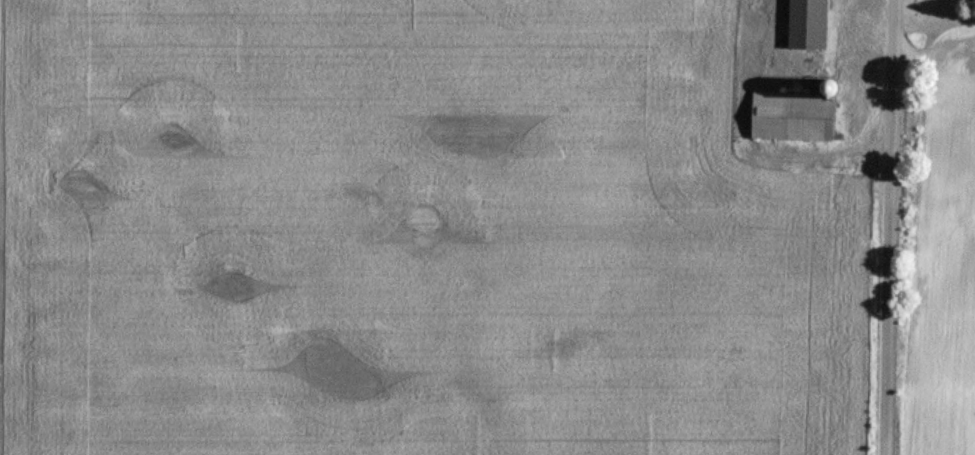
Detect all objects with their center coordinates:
building: (810, 24)
building: (794, 116)
road: (894, 227)

